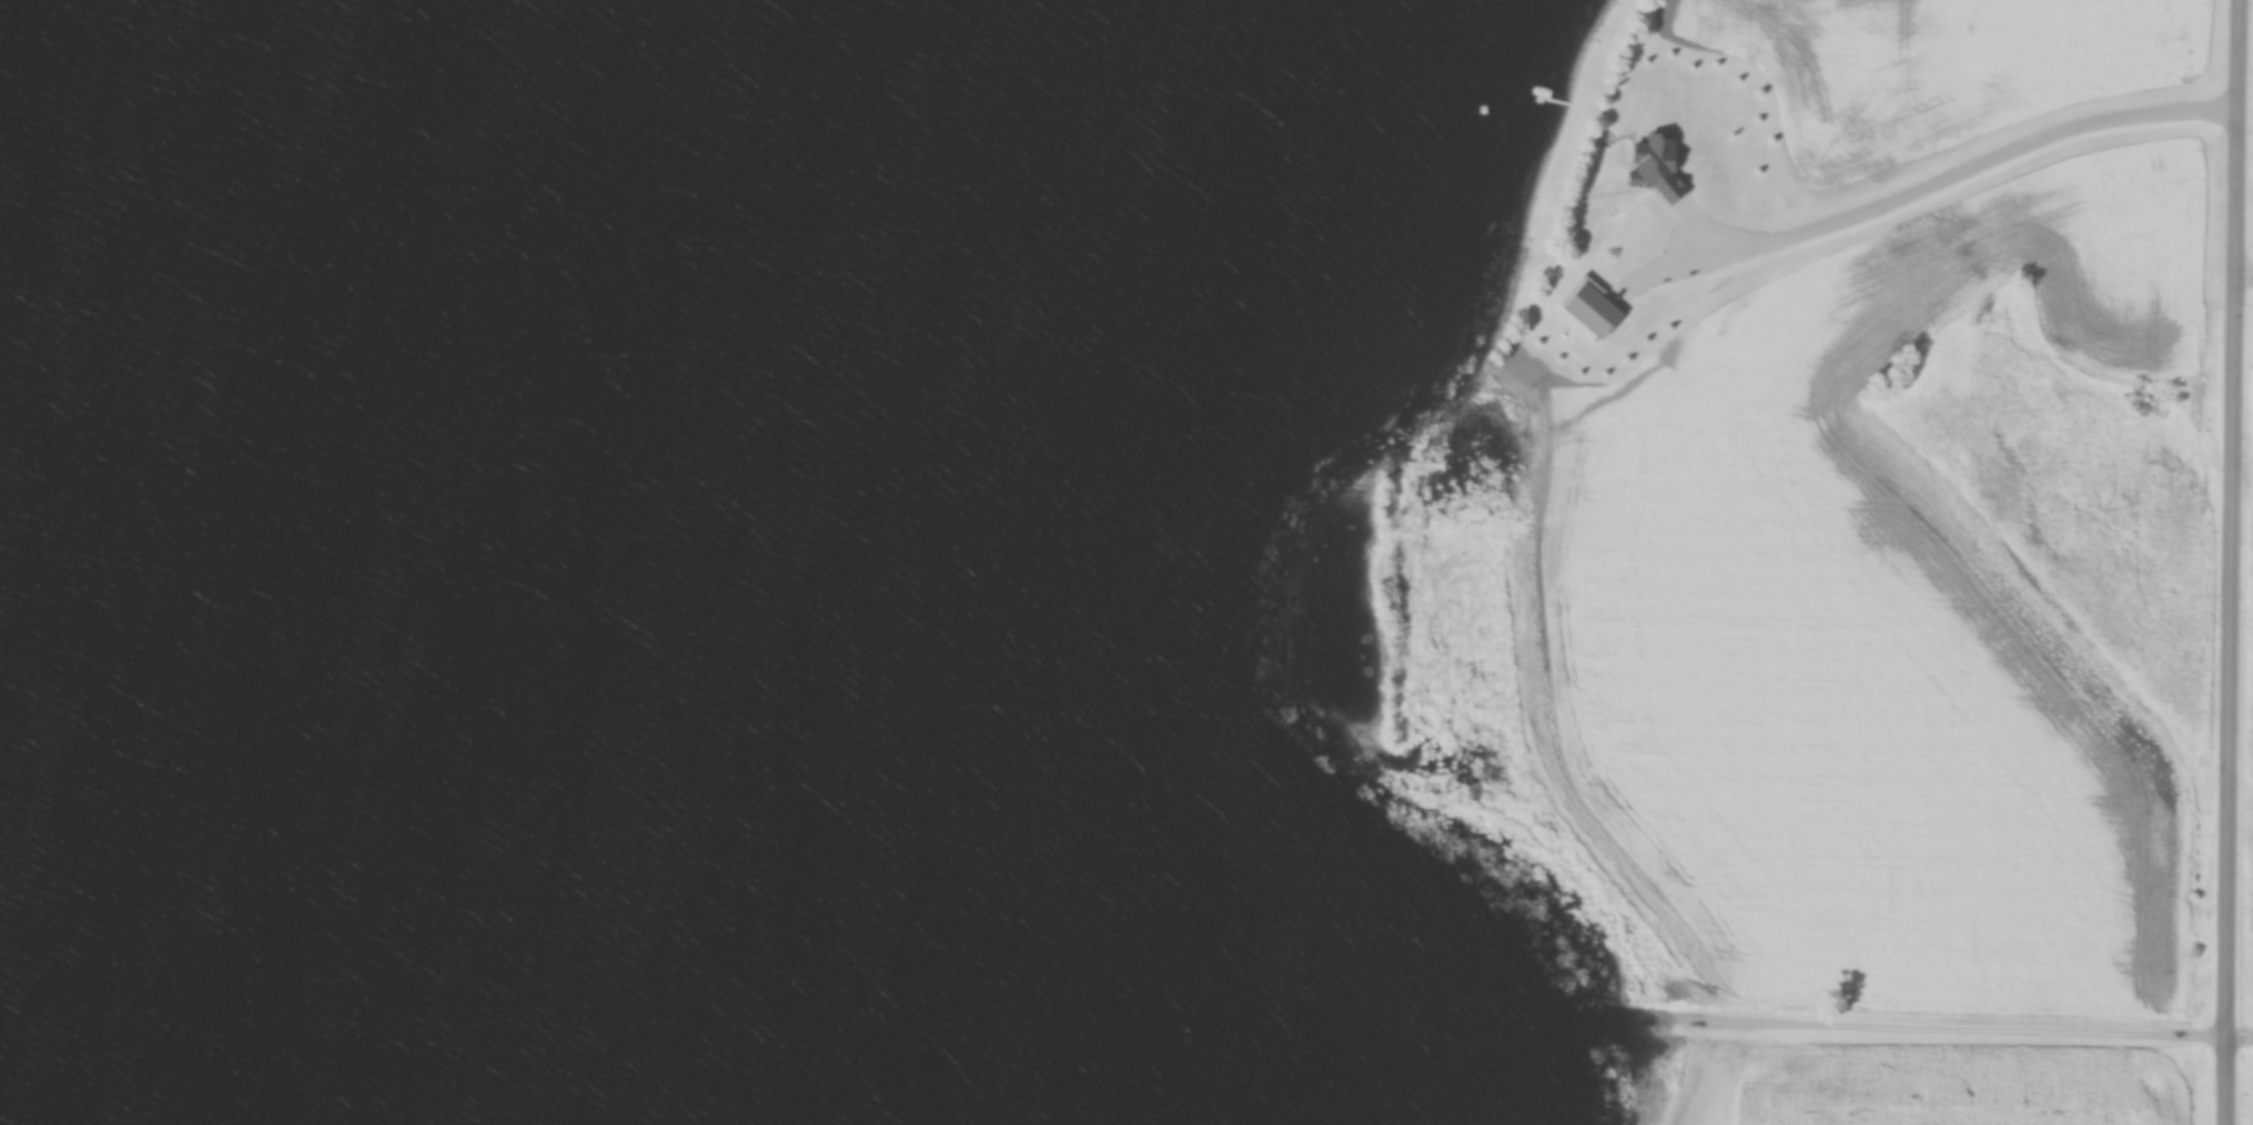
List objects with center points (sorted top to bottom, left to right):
road: (2229, 561)

